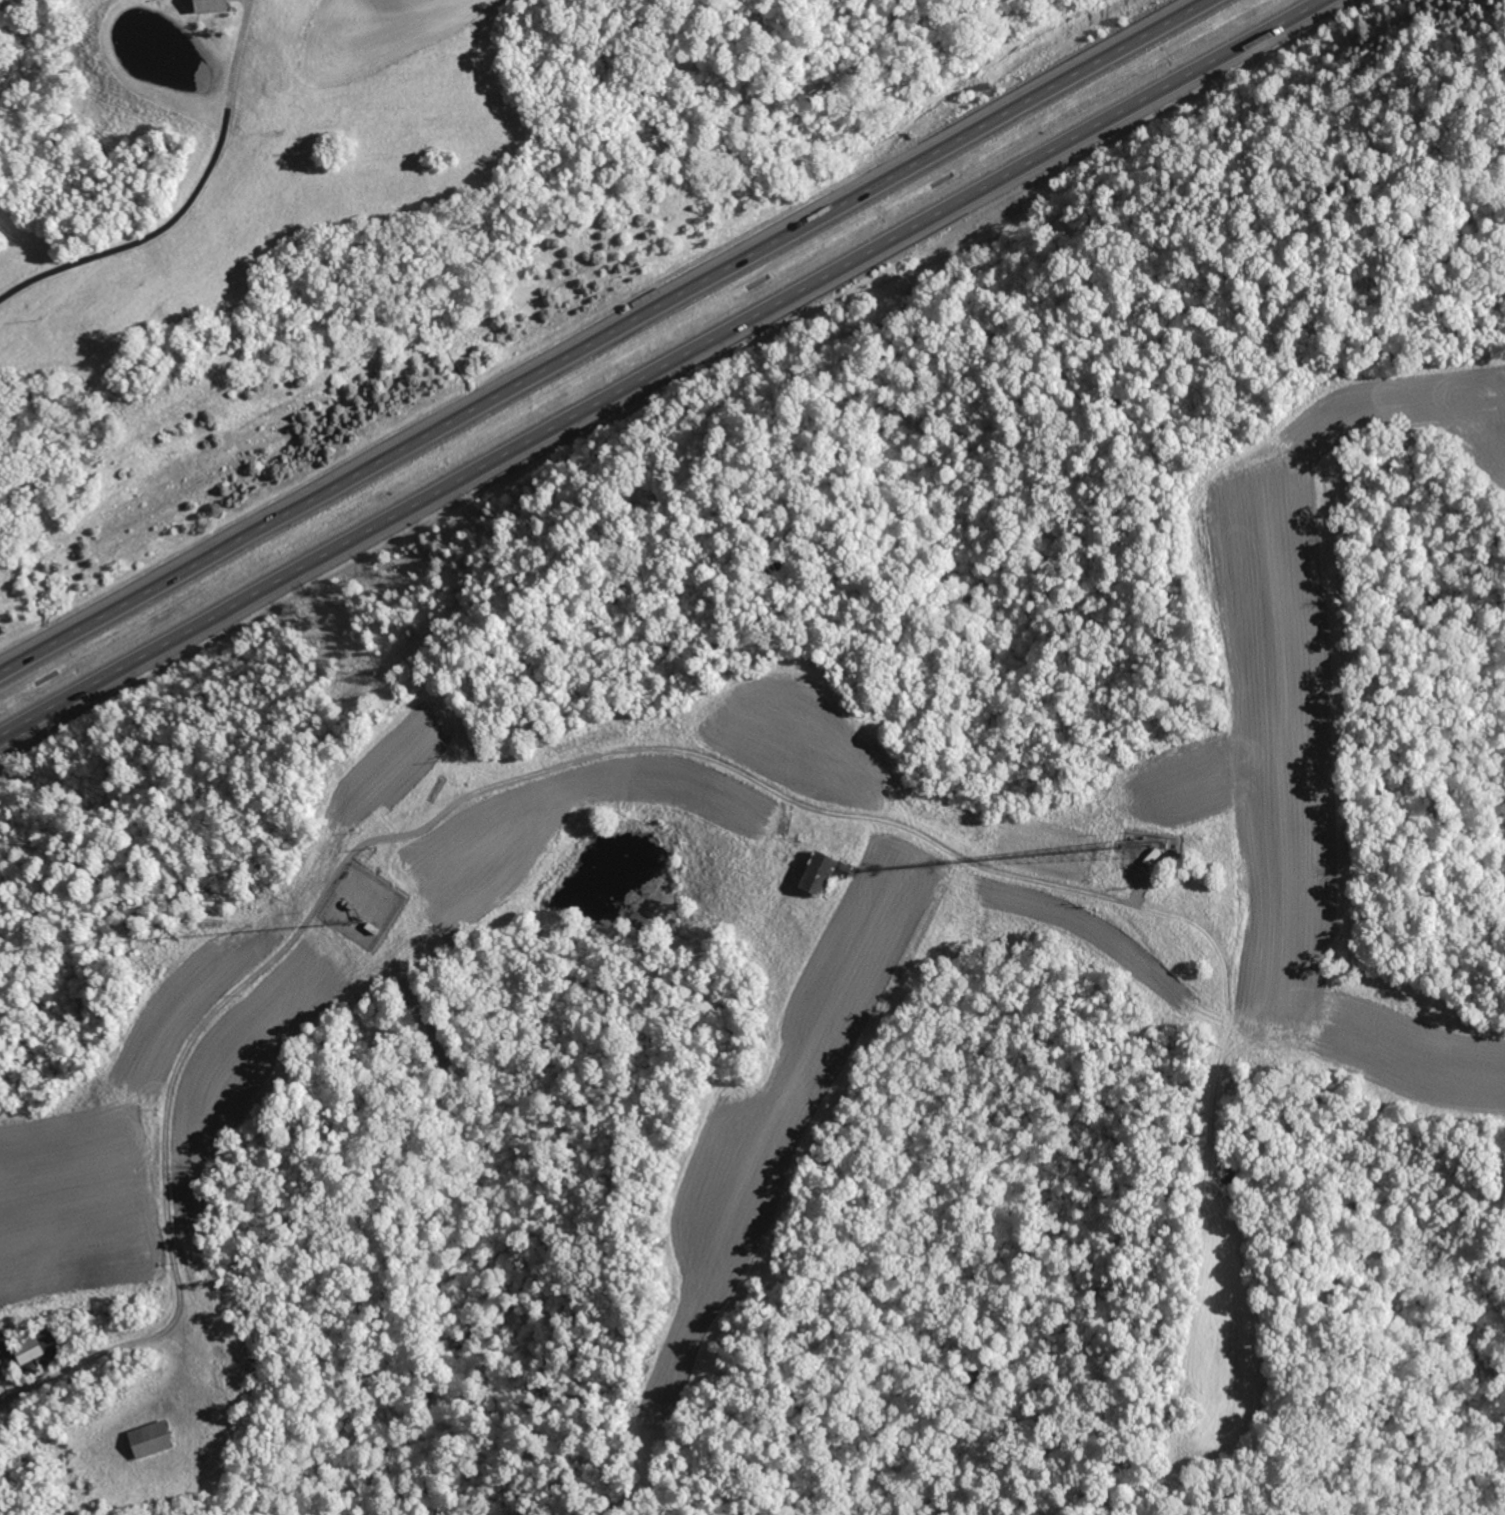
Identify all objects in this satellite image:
building: (205, 6)
road: (602, 335)
road: (667, 371)
building: (31, 1349)
road: (32, 1385)

